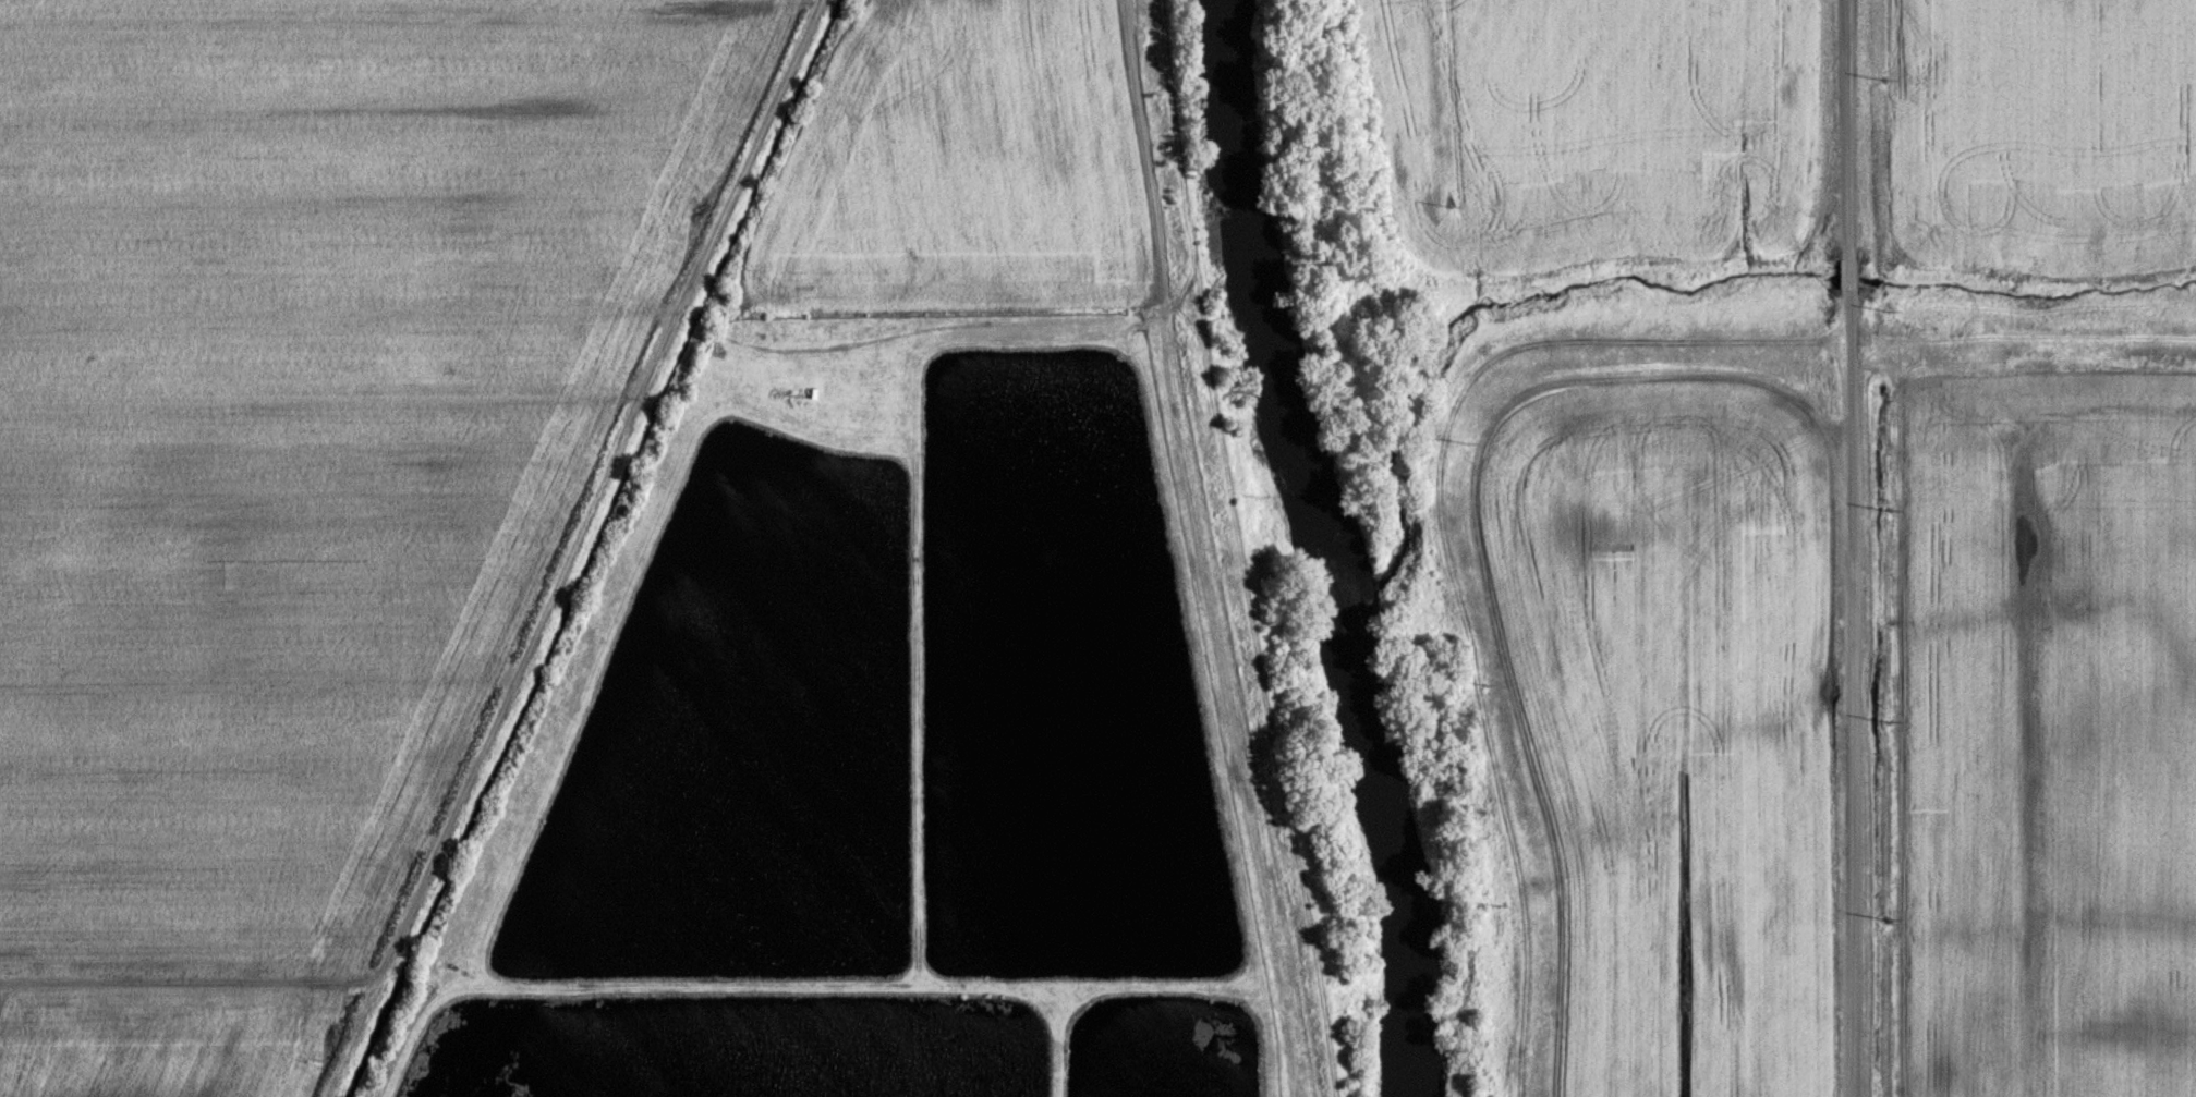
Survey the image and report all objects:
river: (1328, 545)
road: (1845, 548)

